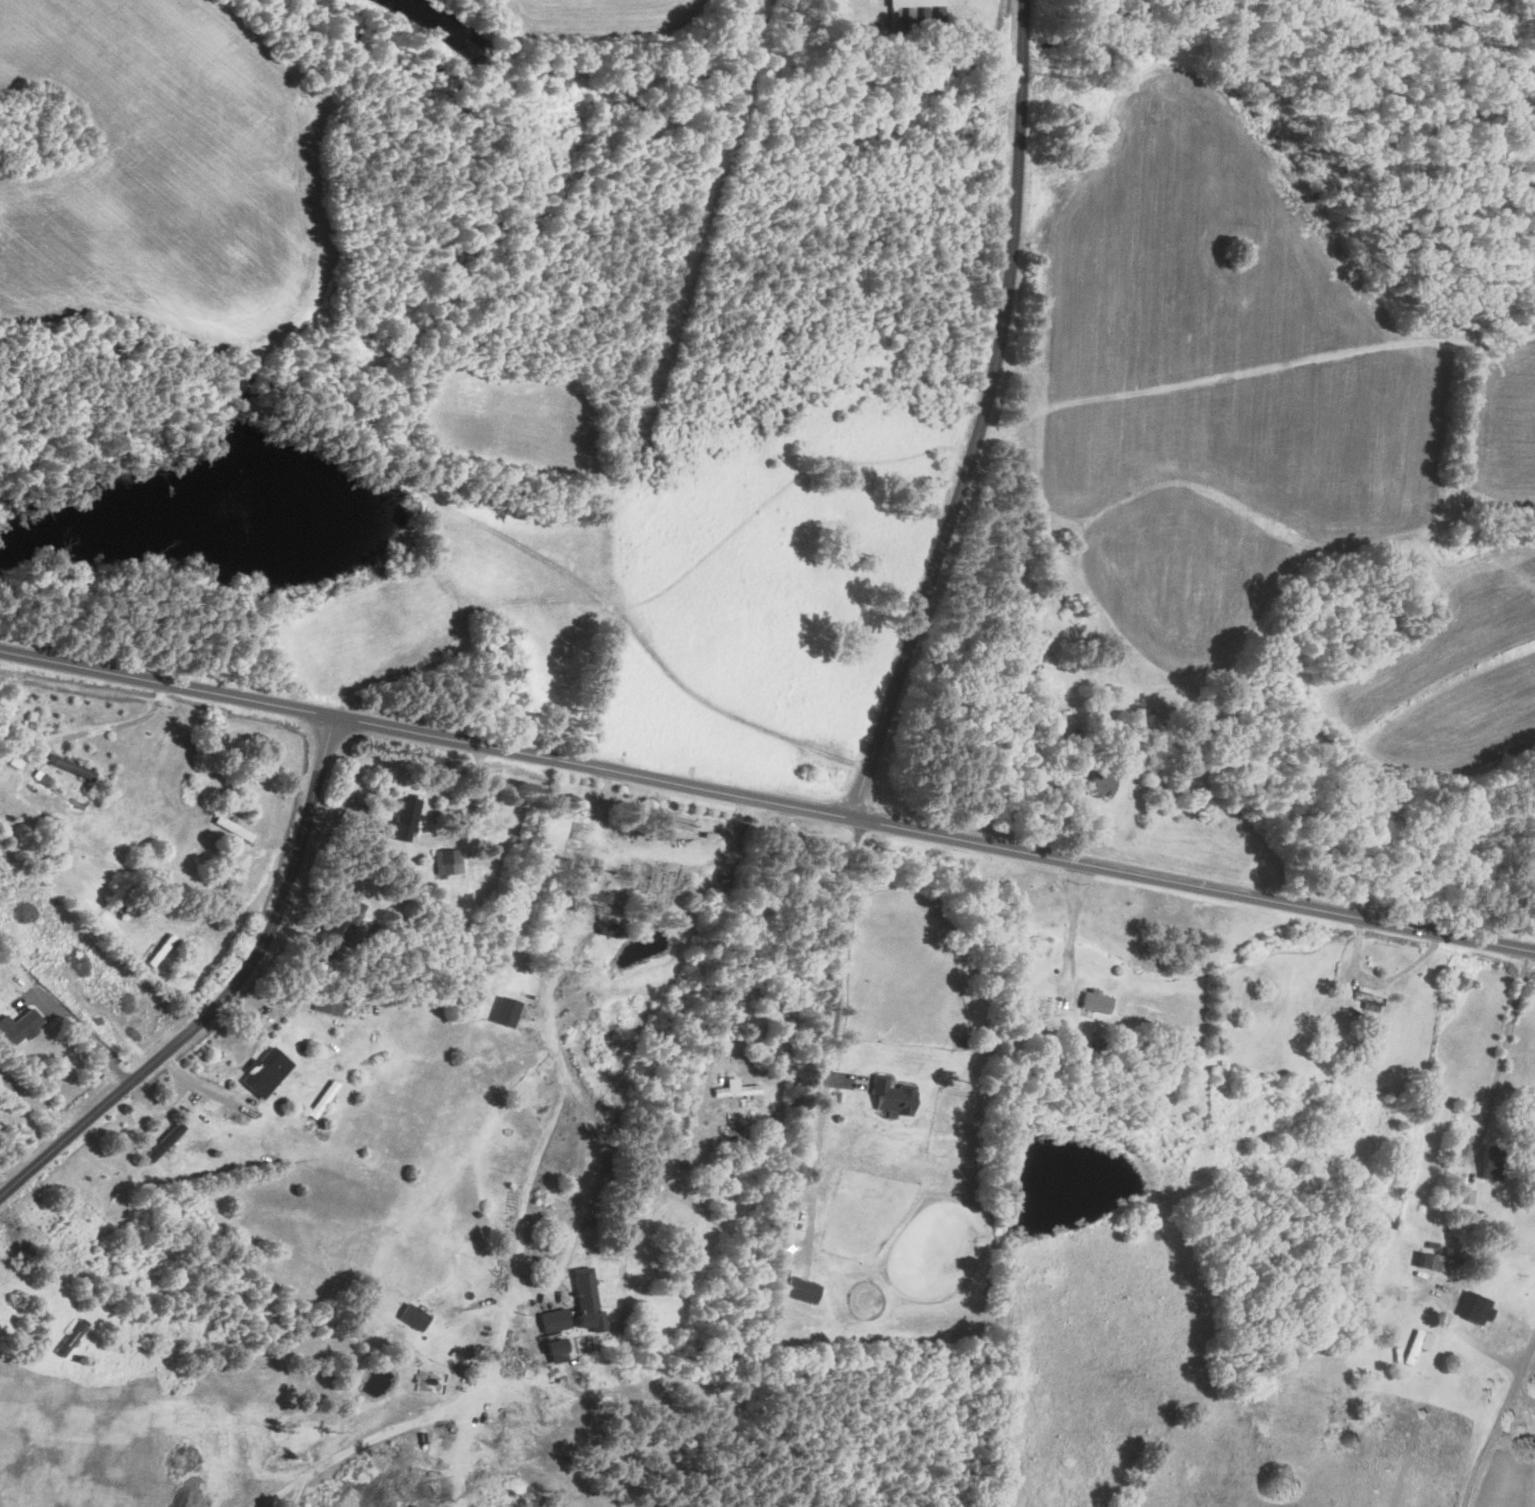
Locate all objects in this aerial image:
building: (911, 3)
road: (982, 415)
building: (70, 767)
building: (1097, 784)
road: (768, 798)
building: (404, 819)
building: (233, 829)
road: (686, 854)
building: (448, 862)
road: (231, 922)
road: (1074, 922)
building: (606, 929)
building: (160, 951)
road: (844, 957)
road: (223, 992)
building: (1093, 1001)
building: (326, 1005)
building: (505, 1011)
building: (20, 1027)
road: (95, 1046)
road: (1502, 1056)
building: (266, 1072)
road: (201, 1081)
building: (735, 1090)
building: (891, 1097)
road: (542, 1135)
building: (163, 1143)
building: (1486, 1166)
road: (816, 1169)
building: (1461, 1195)
road: (579, 1204)
building: (1426, 1261)
building: (801, 1291)
building: (585, 1299)
building: (1364, 1308)
building: (1471, 1308)
building: (413, 1318)
building: (553, 1321)
building: (70, 1338)
building: (1415, 1346)
building: (556, 1351)
building: (429, 1382)
road: (1494, 1421)
road: (363, 1445)

